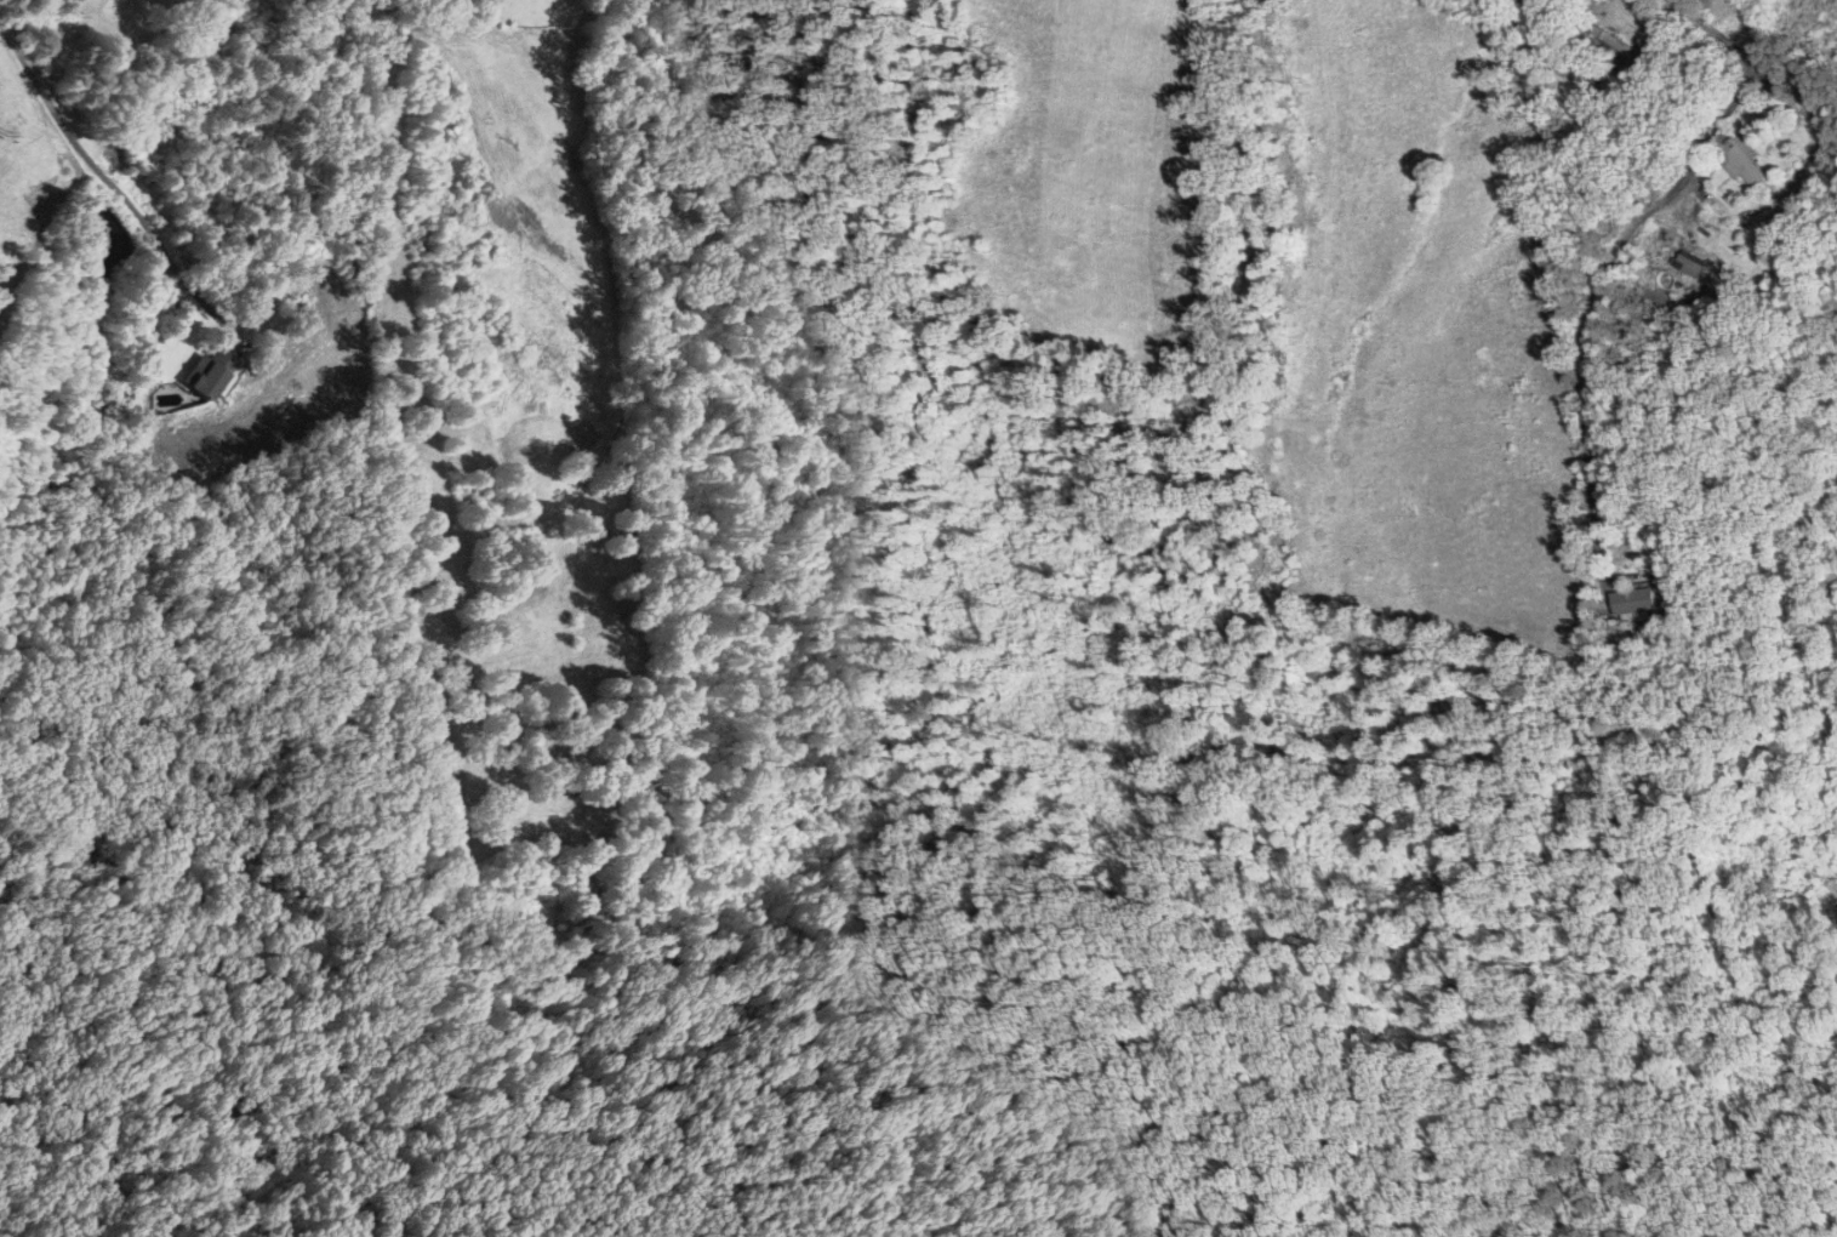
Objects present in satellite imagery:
building: (1741, 161)
road: (1701, 181)
building: (1688, 266)
building: (211, 374)
building: (1632, 600)

